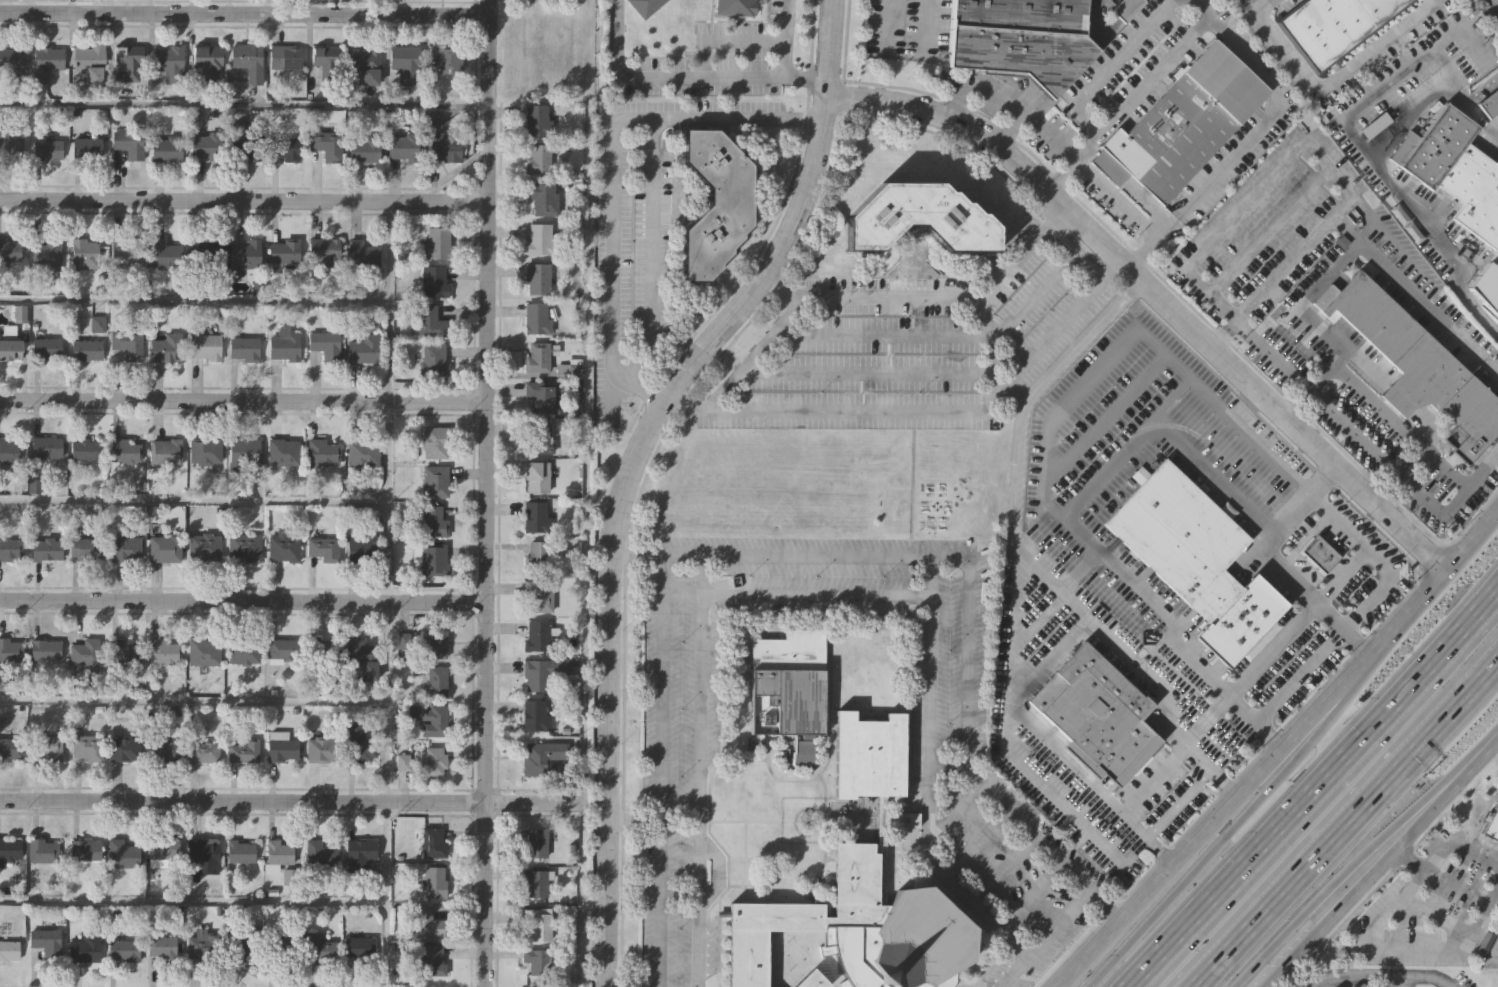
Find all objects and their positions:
building: (645, 6)
road: (1493, 6)
building: (736, 7)
building: (1124, 7)
road: (243, 12)
road: (884, 20)
road: (919, 21)
building: (1335, 25)
road: (1463, 28)
building: (1018, 37)
road: (788, 40)
building: (284, 56)
building: (328, 59)
building: (447, 59)
building: (129, 60)
building: (170, 60)
building: (247, 60)
building: (47, 61)
building: (92, 61)
building: (14, 62)
building: (207, 62)
building: (405, 63)
building: (367, 65)
road: (1109, 66)
road: (484, 72)
road: (684, 79)
road: (1333, 82)
road: (1383, 87)
road: (1141, 88)
road: (1482, 88)
building: (1490, 103)
road: (242, 104)
building: (538, 120)
building: (1185, 122)
road: (1010, 132)
road: (1251, 138)
road: (1050, 140)
building: (245, 142)
building: (325, 142)
building: (47, 143)
building: (128, 143)
building: (208, 144)
building: (11, 145)
building: (284, 145)
building: (88, 147)
building: (168, 148)
building: (443, 149)
building: (362, 150)
building: (405, 150)
building: (538, 159)
building: (1456, 171)
road: (1380, 173)
road: (612, 174)
road: (1058, 175)
building: (542, 198)
road: (241, 202)
building: (714, 205)
building: (916, 219)
road: (1270, 231)
building: (540, 239)
building: (437, 244)
road: (1201, 247)
building: (10, 248)
building: (129, 249)
building: (286, 249)
building: (326, 251)
building: (167, 252)
building: (205, 252)
building: (85, 253)
building: (247, 253)
building: (363, 253)
road: (652, 253)
building: (49, 255)
road: (1373, 255)
road: (1294, 256)
road: (1064, 259)
road: (1003, 271)
building: (537, 276)
building: (435, 280)
building: (1487, 285)
road: (1157, 295)
road: (1027, 298)
road: (880, 299)
road: (194, 302)
road: (1301, 305)
building: (536, 317)
building: (432, 321)
road: (880, 337)
road: (1039, 340)
building: (129, 344)
building: (285, 344)
building: (326, 344)
building: (207, 346)
building: (13, 348)
building: (48, 348)
building: (168, 348)
building: (246, 348)
building: (364, 349)
building: (87, 350)
road: (989, 352)
building: (538, 356)
road: (753, 356)
building: (435, 360)
road: (1096, 366)
building: (1419, 366)
building: (569, 368)
road: (864, 375)
building: (541, 395)
road: (610, 400)
road: (1172, 401)
road: (241, 403)
road: (847, 412)
road: (1387, 415)
road: (1103, 416)
road: (1159, 428)
building: (537, 439)
building: (436, 441)
road: (1020, 441)
building: (47, 445)
building: (9, 449)
building: (86, 449)
building: (125, 449)
building: (167, 450)
building: (284, 450)
building: (323, 450)
building: (207, 451)
building: (364, 451)
building: (245, 452)
road: (1497, 453)
road: (1497, 454)
road: (633, 468)
building: (537, 475)
building: (435, 480)
road: (1301, 490)
road: (193, 501)
building: (536, 515)
building: (433, 521)
road: (1266, 528)
road: (1273, 535)
building: (245, 545)
building: (126, 546)
building: (205, 546)
building: (285, 546)
building: (166, 547)
building: (325, 547)
building: (12, 548)
building: (48, 548)
building: (87, 548)
building: (363, 549)
building: (1321, 551)
building: (536, 554)
road: (636, 554)
road: (681, 555)
building: (432, 558)
road: (1375, 558)
building: (1198, 559)
road: (483, 566)
road: (1341, 576)
road: (1138, 589)
road: (387, 594)
building: (540, 594)
road: (814, 597)
road: (241, 602)
road: (1415, 608)
road: (1036, 614)
road: (1297, 619)
road: (1012, 624)
building: (540, 634)
building: (437, 643)
building: (285, 648)
building: (322, 649)
building: (45, 650)
building: (241, 650)
building: (10, 651)
building: (163, 651)
building: (202, 651)
road: (968, 651)
building: (123, 652)
building: (85, 656)
building: (364, 657)
road: (698, 657)
road: (1048, 657)
road: (1201, 668)
building: (543, 672)
road: (1291, 675)
building: (438, 679)
building: (790, 686)
road: (193, 702)
building: (1095, 713)
building: (535, 716)
building: (430, 718)
road: (929, 722)
building: (360, 742)
road: (1295, 743)
building: (49, 745)
building: (11, 747)
building: (279, 747)
building: (86, 748)
building: (123, 749)
building: (164, 749)
building: (320, 750)
building: (202, 752)
building: (243, 752)
building: (542, 757)
building: (436, 760)
road: (1473, 763)
road: (947, 764)
road: (659, 771)
road: (1157, 782)
road: (1043, 787)
road: (1314, 789)
road: (289, 801)
road: (1325, 801)
road: (1330, 807)
road: (1020, 823)
road: (1344, 823)
building: (1491, 823)
road: (1393, 832)
road: (1188, 839)
building: (435, 841)
building: (537, 841)
road: (1458, 847)
building: (362, 848)
building: (86, 851)
building: (163, 851)
building: (44, 852)
building: (10, 853)
building: (242, 853)
building: (322, 853)
building: (280, 854)
building: (124, 855)
building: (203, 857)
road: (1399, 859)
road: (719, 872)
road: (1191, 873)
building: (537, 881)
building: (435, 882)
road: (1046, 887)
road: (1356, 887)
building: (865, 888)
road: (959, 895)
road: (192, 901)
road: (1083, 901)
road: (987, 920)
building: (427, 923)
building: (538, 923)
road: (1284, 932)
building: (246, 942)
building: (46, 943)
building: (285, 943)
building: (204, 946)
building: (163, 947)
building: (321, 948)
building: (360, 948)
road: (1036, 948)
road: (1401, 948)
building: (85, 949)
building: (124, 949)
building: (9, 950)
building: (538, 959)
building: (431, 961)
road: (1105, 970)
road: (1359, 974)
road: (1291, 977)
building: (816, 981)
building: (1361, 985)

